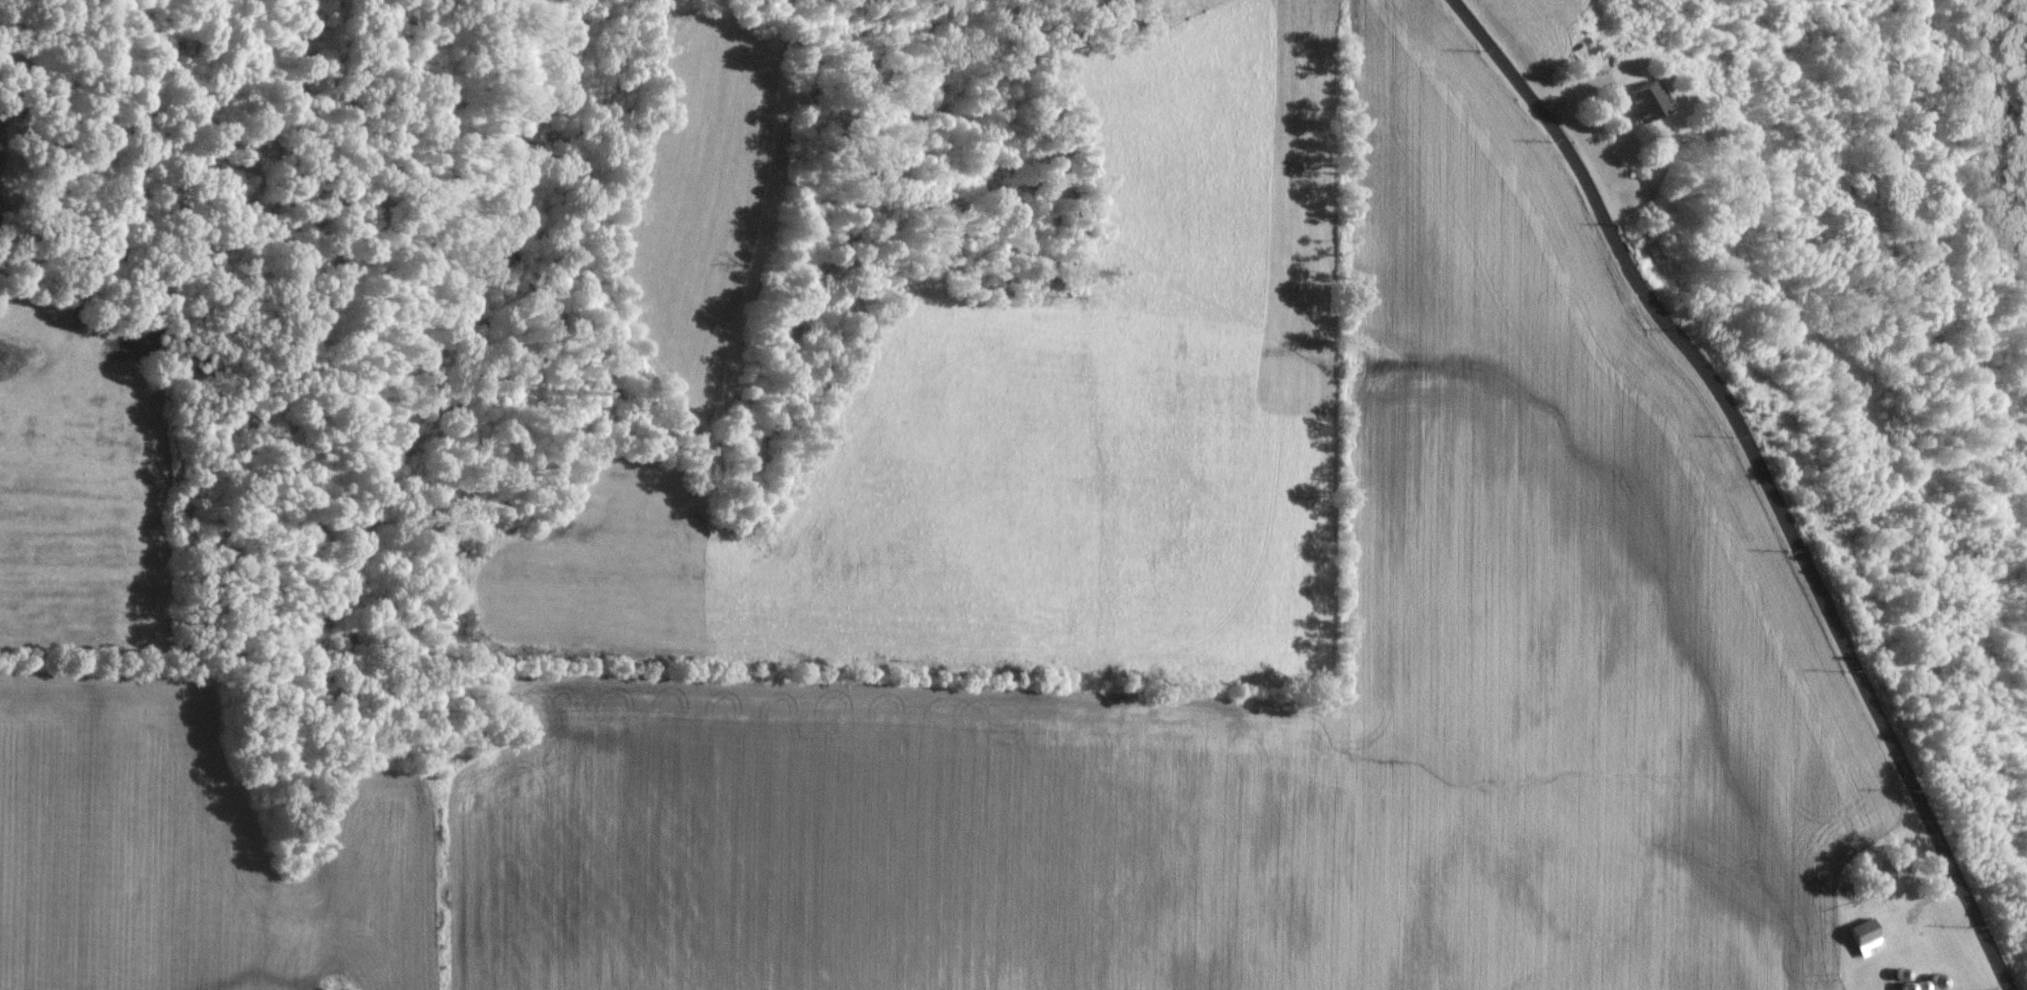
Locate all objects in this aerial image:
building: (1647, 97)
road: (1764, 475)
building: (1864, 936)

